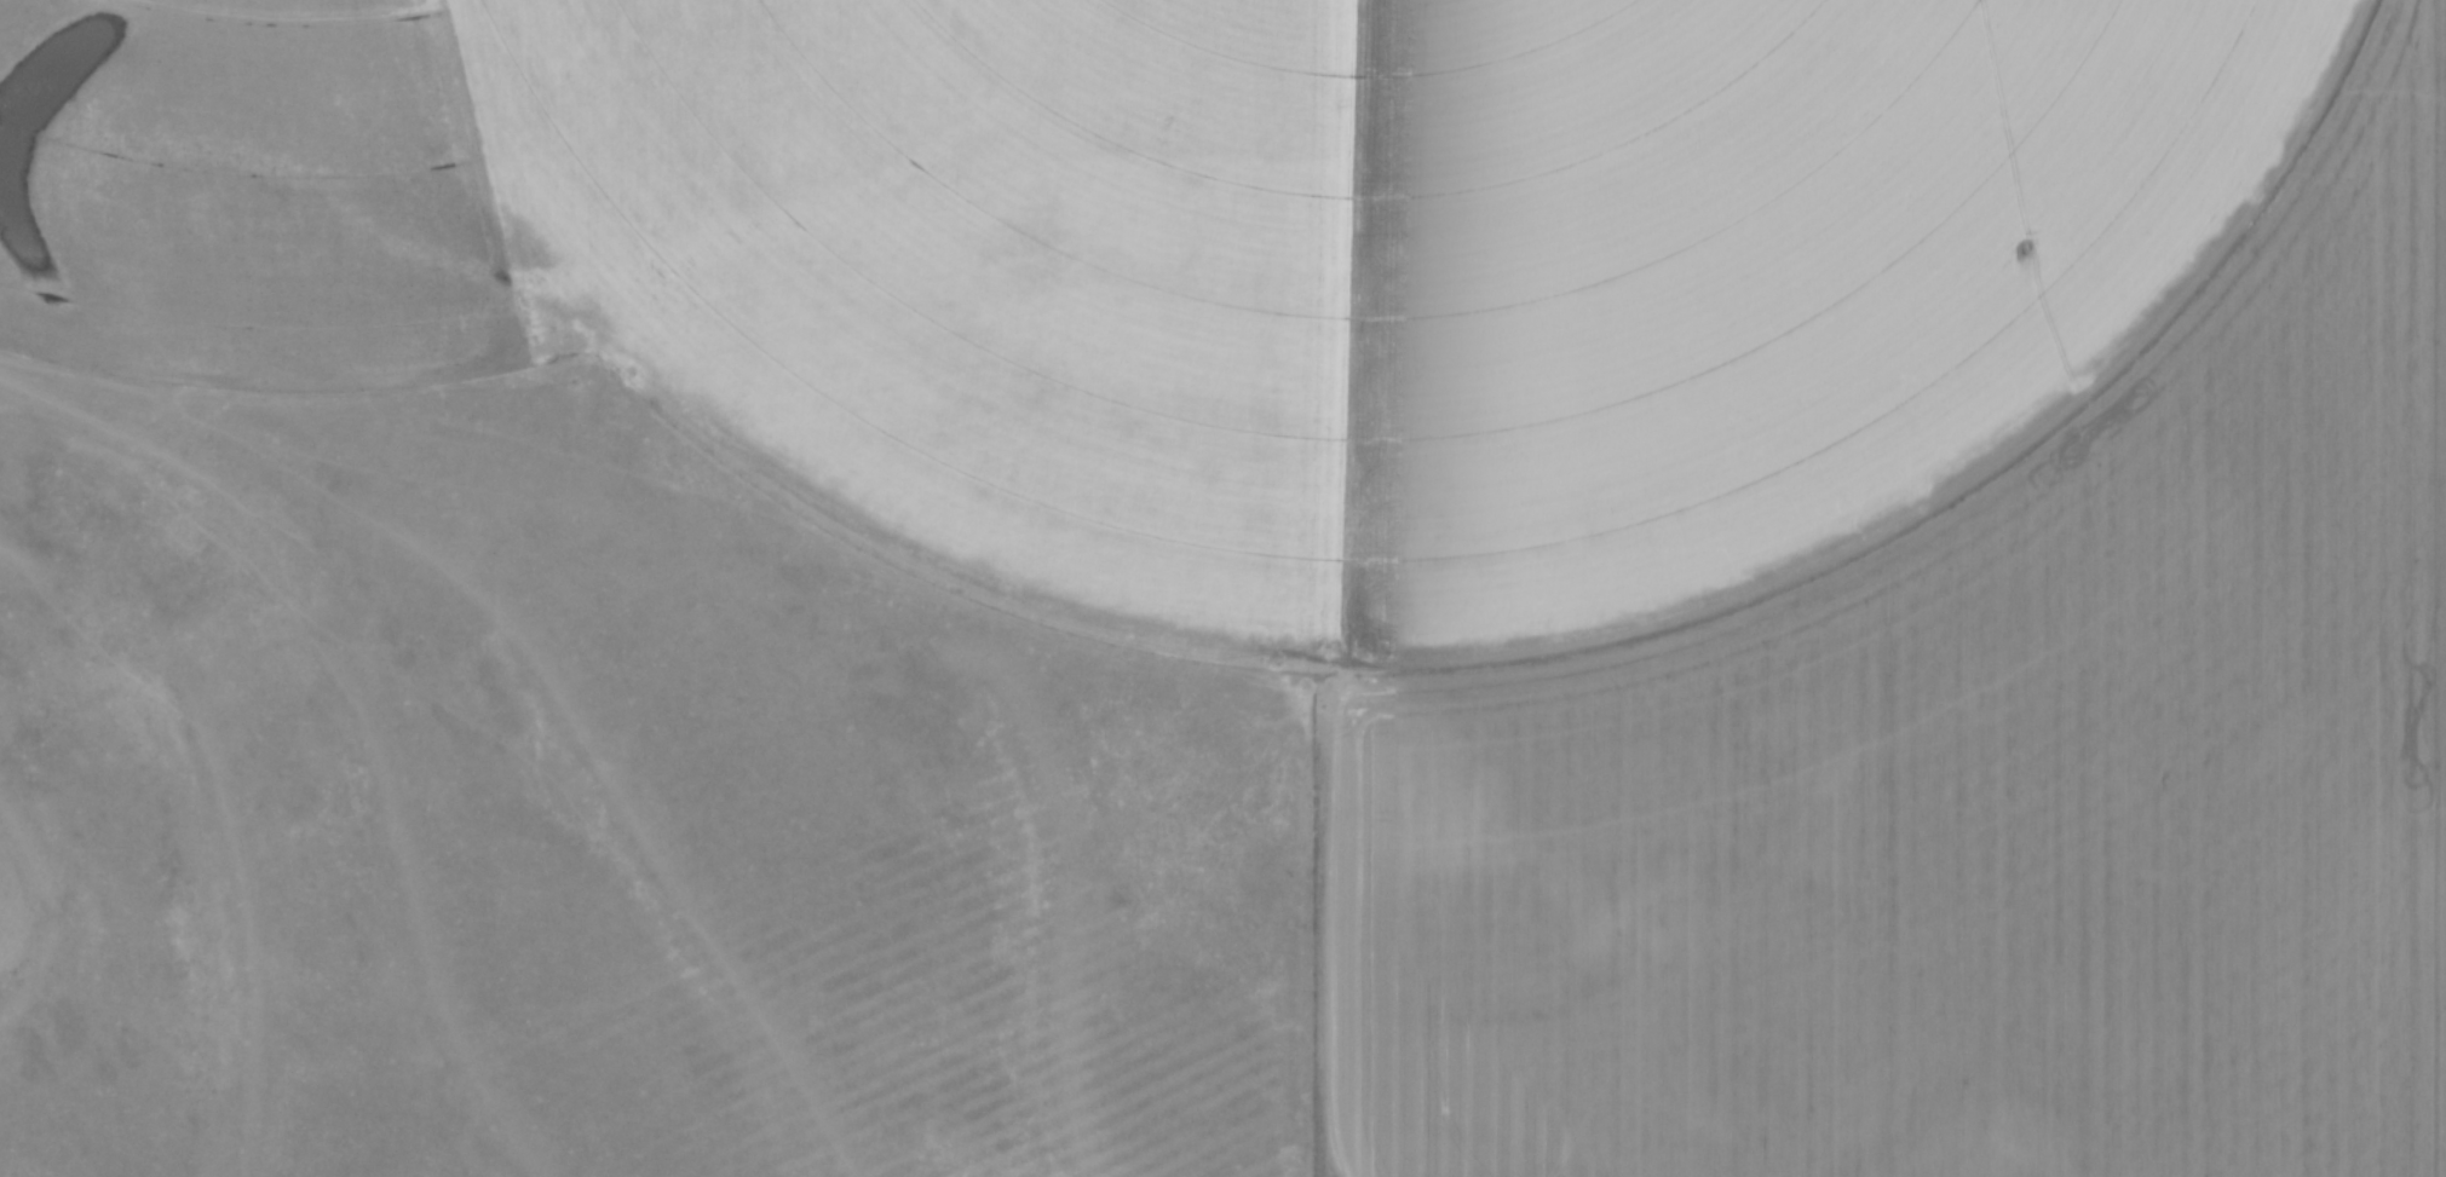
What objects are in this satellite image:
crop: (1532, 477)
crop: (600, 818)

